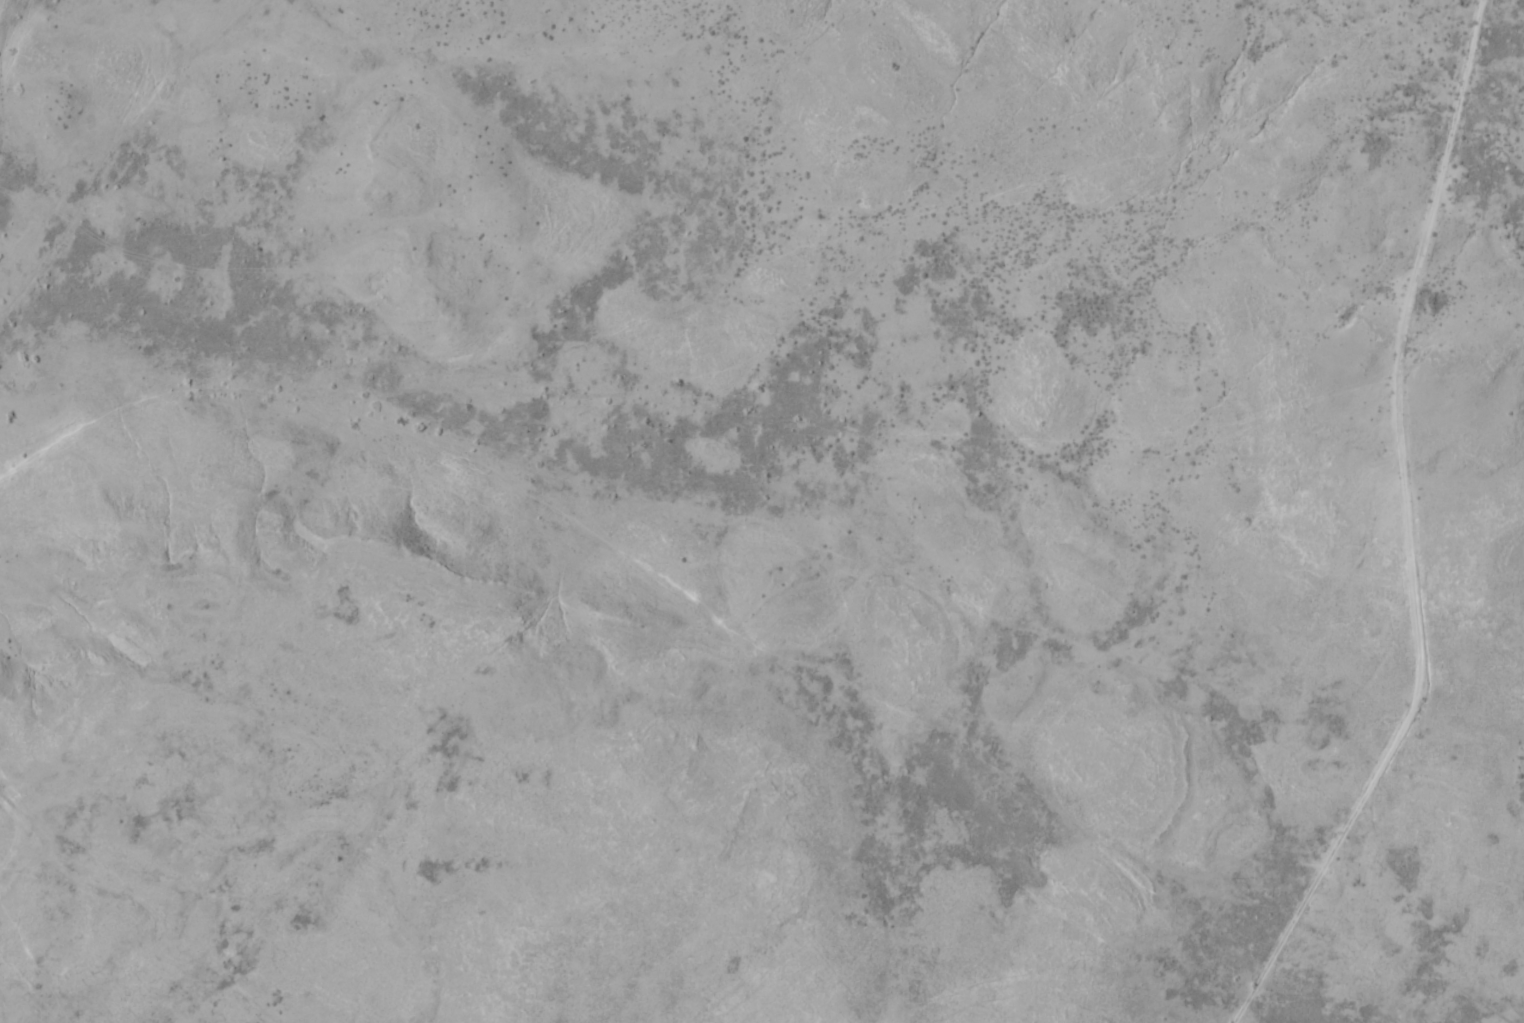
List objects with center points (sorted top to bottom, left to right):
road: (1416, 533)

